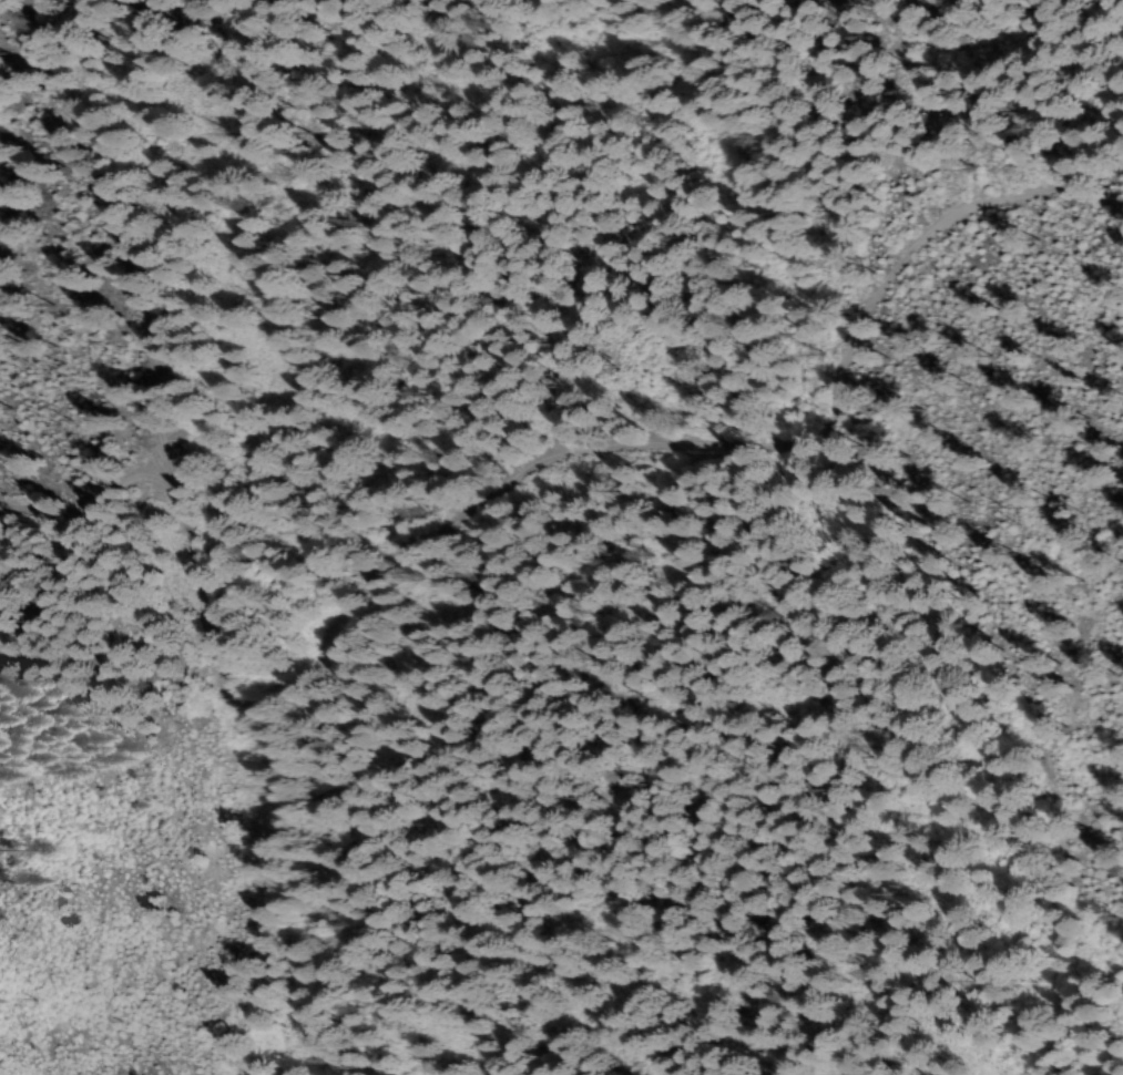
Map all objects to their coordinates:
road: (466, 498)

